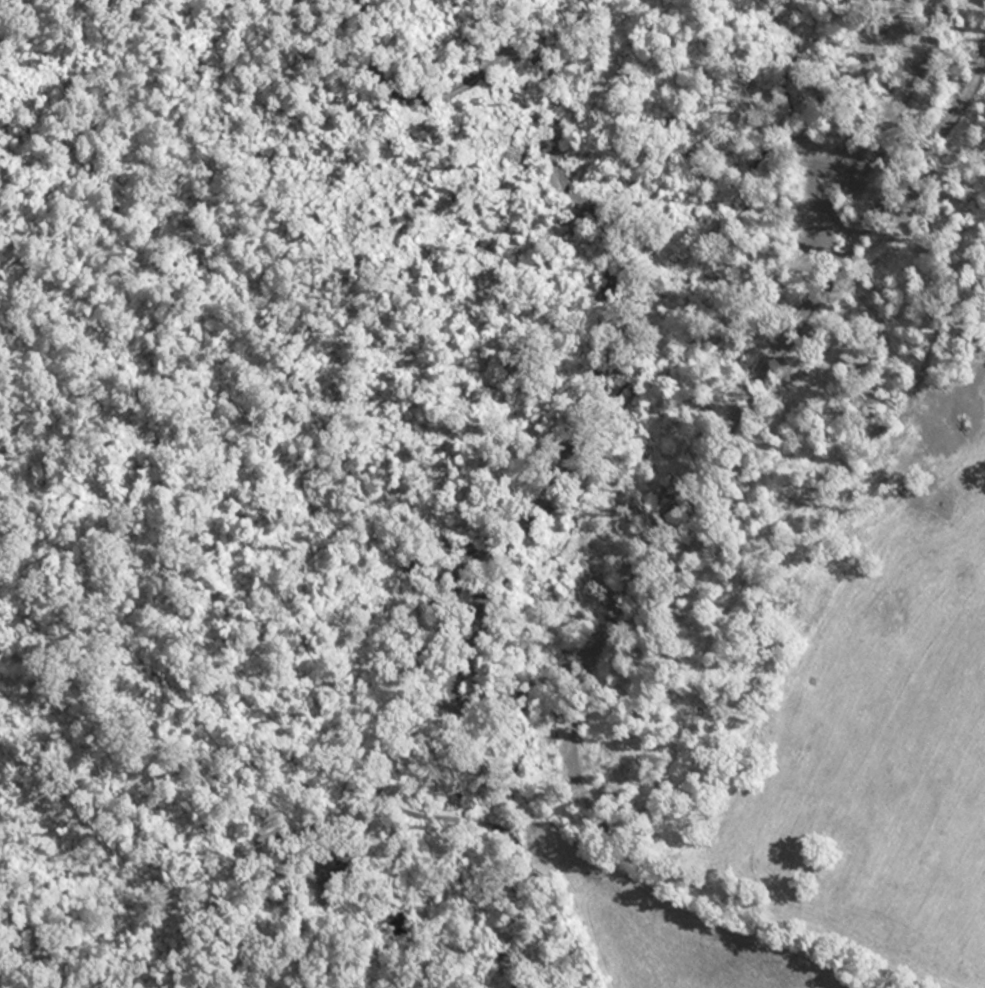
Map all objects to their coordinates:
road: (507, 838)
building: (328, 872)

